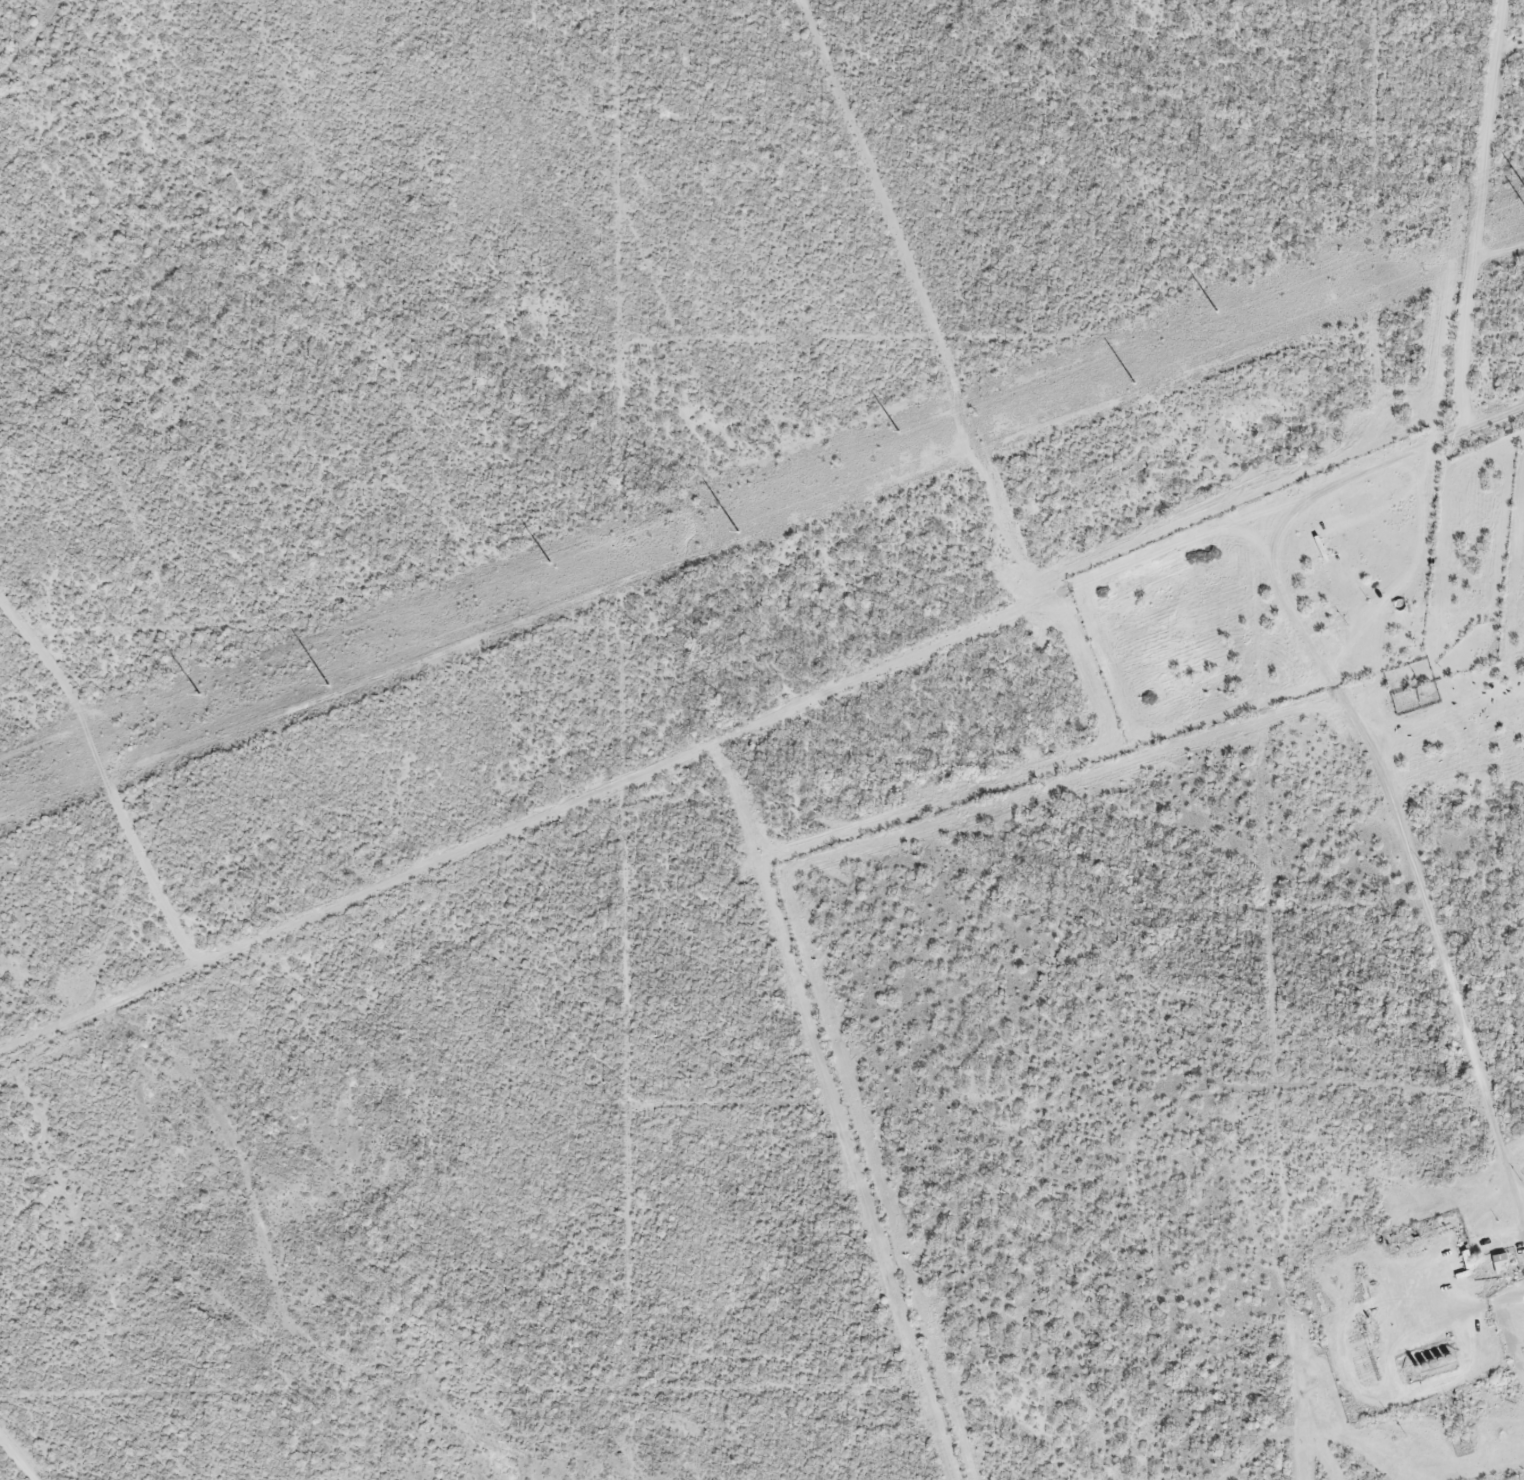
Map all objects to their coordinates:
power tower: (1217, 311)
power tower: (1134, 384)
power tower: (899, 432)
power tower: (739, 533)
power tower: (550, 564)
power tower: (328, 687)
power tower: (200, 696)
building: (1459, 1262)

